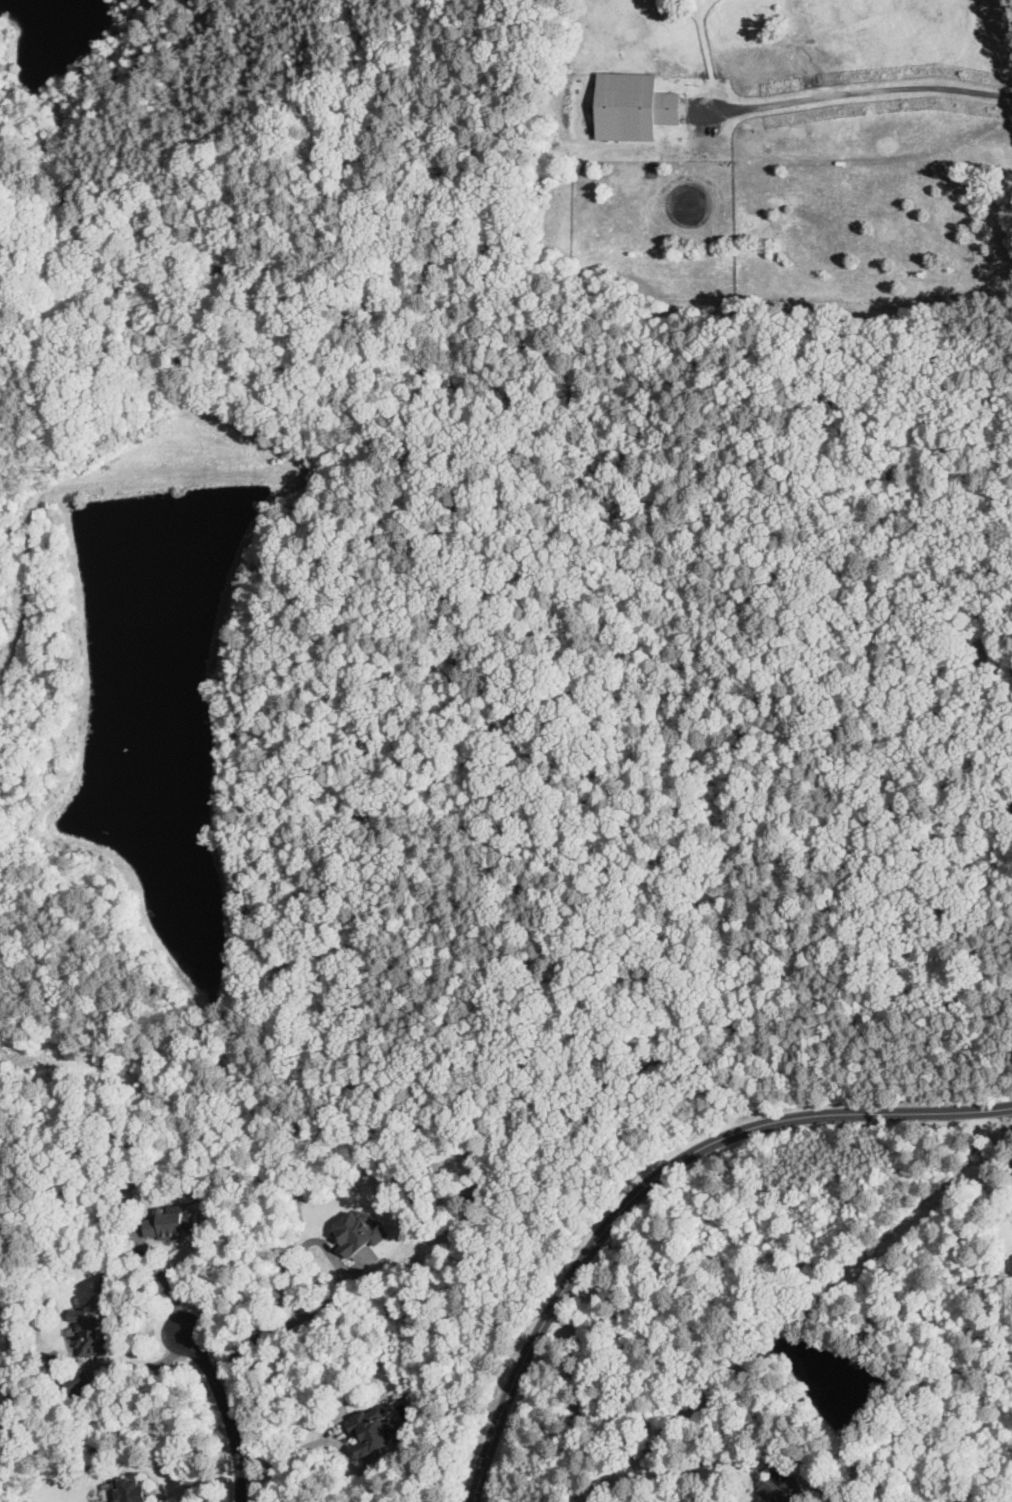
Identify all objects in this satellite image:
road: (857, 91)
building: (632, 106)
road: (1006, 1132)
road: (654, 1181)
building: (173, 1225)
building: (359, 1232)
road: (162, 1274)
road: (343, 1291)
building: (91, 1333)
building: (79, 1382)
road: (229, 1407)
road: (575, 1411)
building: (372, 1430)
road: (292, 1453)
building: (779, 1487)
building: (133, 1489)

